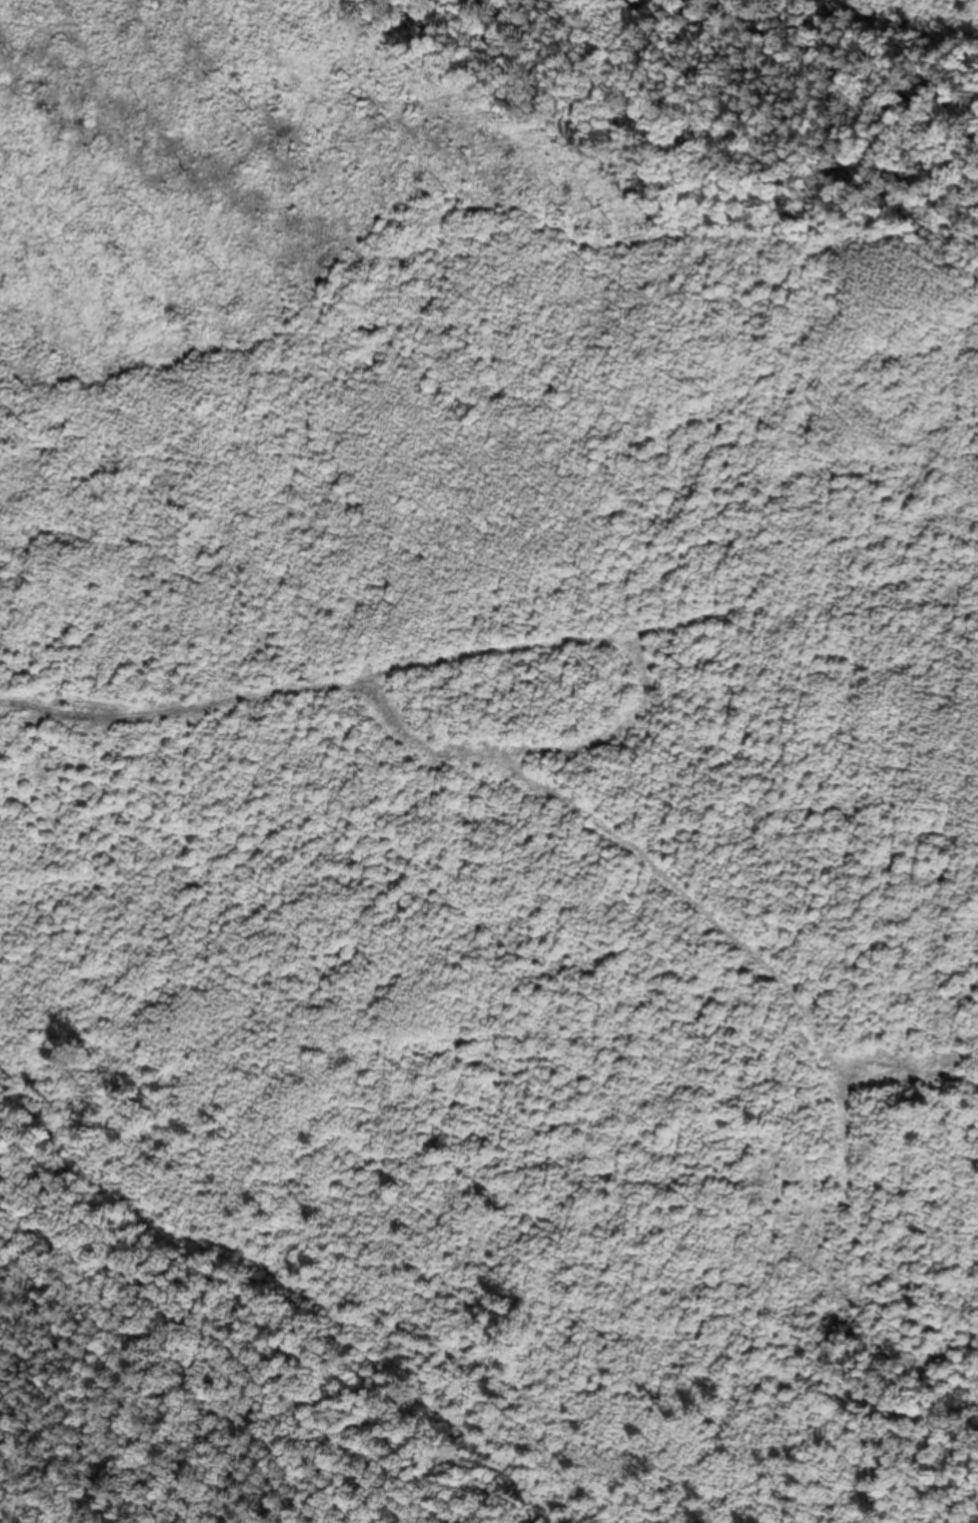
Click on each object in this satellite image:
park: (491, 1281)

